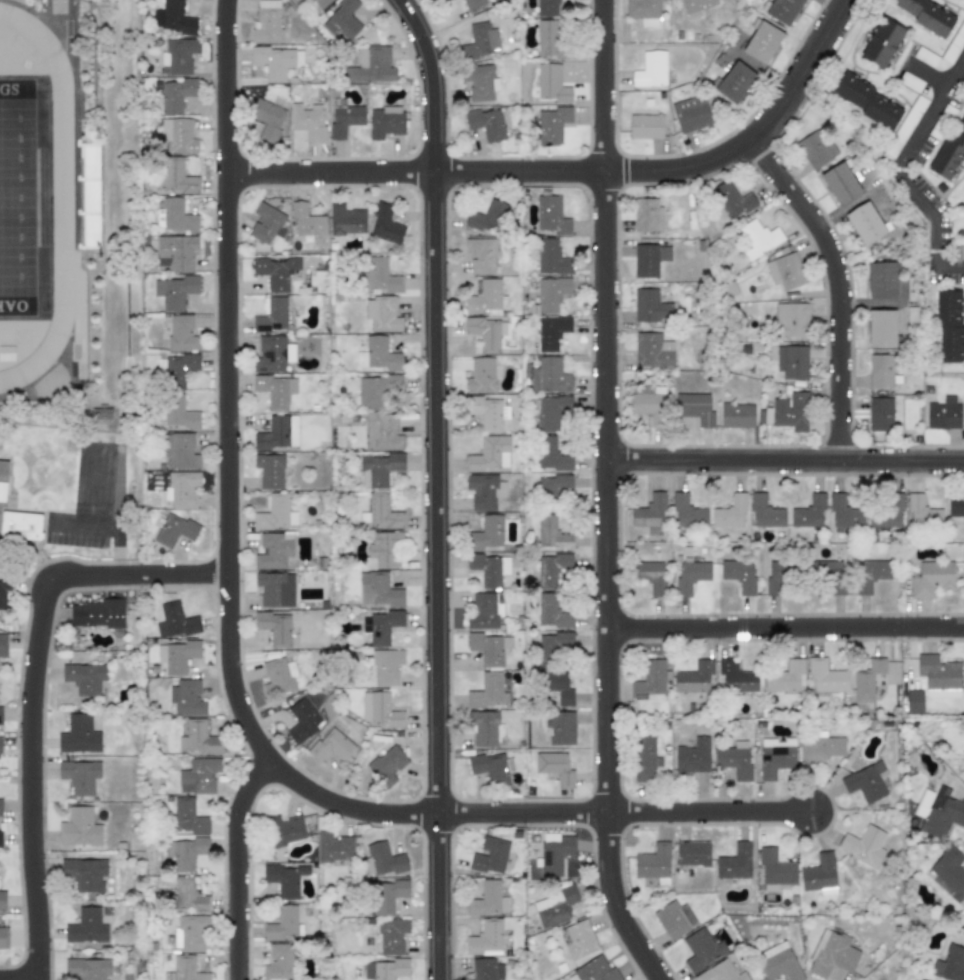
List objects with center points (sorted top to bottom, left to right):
building: (446, 0)
building: (674, 0)
building: (320, 3)
building: (473, 4)
building: (695, 7)
building: (546, 8)
building: (781, 10)
building: (644, 11)
building: (931, 14)
building: (173, 18)
building: (342, 20)
building: (266, 22)
building: (550, 40)
building: (479, 41)
building: (762, 41)
building: (887, 41)
building: (954, 43)
road: (98, 55)
building: (178, 56)
building: (925, 57)
building: (276, 61)
building: (371, 66)
building: (650, 70)
road: (800, 73)
road: (962, 74)
road: (929, 76)
building: (478, 82)
building: (910, 82)
building: (735, 83)
building: (550, 84)
building: (176, 94)
building: (870, 99)
building: (689, 114)
building: (344, 117)
building: (267, 118)
building: (308, 121)
building: (385, 122)
building: (486, 124)
building: (551, 125)
building: (645, 125)
building: (904, 128)
building: (177, 136)
building: (816, 148)
building: (949, 154)
road: (488, 171)
road: (903, 176)
building: (175, 177)
building: (840, 184)
park: (17, 198)
building: (732, 201)
stadium: (45, 202)
track: (55, 215)
building: (551, 215)
building: (174, 216)
building: (646, 216)
building: (487, 217)
building: (306, 220)
building: (345, 220)
building: (266, 223)
building: (866, 223)
building: (385, 224)
building: (758, 238)
building: (176, 252)
building: (480, 255)
building: (550, 257)
building: (648, 259)
building: (786, 270)
building: (275, 271)
building: (377, 276)
building: (879, 280)
road: (837, 286)
building: (175, 291)
building: (550, 293)
building: (486, 298)
building: (649, 307)
building: (382, 314)
building: (271, 315)
building: (791, 318)
building: (949, 327)
building: (881, 328)
building: (551, 332)
building: (181, 333)
building: (486, 333)
building: (653, 350)
building: (272, 354)
building: (377, 355)
building: (791, 361)
building: (176, 369)
building: (881, 371)
building: (481, 375)
building: (549, 376)
building: (275, 390)
building: (376, 390)
building: (647, 401)
building: (694, 408)
building: (790, 411)
building: (487, 412)
building: (177, 413)
building: (880, 414)
building: (943, 414)
building: (103, 415)
building: (737, 415)
building: (764, 416)
building: (382, 432)
building: (277, 433)
building: (180, 450)
building: (490, 454)
building: (550, 454)
road: (784, 460)
building: (378, 469)
building: (269, 470)
building: (2, 478)
road: (434, 486)
building: (554, 486)
building: (182, 488)
building: (484, 491)
road: (604, 496)
building: (955, 504)
building: (886, 511)
building: (922, 511)
building: (687, 512)
building: (729, 512)
building: (765, 512)
building: (275, 513)
building: (379, 513)
building: (808, 513)
building: (650, 514)
building: (844, 514)
building: (20, 525)
road: (107, 526)
building: (174, 530)
building: (551, 533)
building: (485, 534)
building: (273, 550)
building: (382, 550)
building: (489, 569)
building: (551, 569)
building: (738, 574)
building: (870, 574)
building: (650, 576)
building: (690, 576)
building: (827, 576)
building: (931, 578)
building: (776, 579)
building: (3, 588)
building: (275, 589)
building: (378, 590)
building: (484, 611)
building: (551, 612)
building: (96, 614)
building: (174, 621)
building: (380, 626)
road: (784, 626)
building: (274, 627)
building: (2, 645)
building: (552, 645)
building: (489, 648)
building: (176, 656)
road: (228, 661)
building: (386, 666)
building: (278, 676)
building: (825, 676)
building: (938, 676)
building: (736, 677)
building: (785, 677)
building: (84, 678)
building: (694, 678)
building: (867, 680)
building: (649, 682)
building: (557, 686)
road: (30, 688)
building: (488, 692)
building: (187, 697)
building: (913, 700)
building: (378, 709)
building: (0, 715)
building: (302, 720)
building: (483, 728)
building: (561, 728)
building: (78, 735)
building: (198, 738)
building: (331, 746)
building: (820, 746)
building: (693, 756)
building: (775, 757)
building: (644, 759)
building: (734, 759)
building: (963, 761)
building: (387, 765)
building: (554, 767)
building: (490, 768)
building: (79, 776)
building: (198, 776)
building: (866, 782)
street lamp: (823, 788)
building: (0, 807)
building: (938, 811)
building: (187, 817)
building: (79, 828)
building: (284, 830)
building: (0, 839)
building: (864, 845)
building: (333, 847)
building: (185, 852)
building: (554, 853)
building: (692, 853)
building: (489, 855)
building: (734, 862)
building: (653, 863)
road: (235, 864)
building: (774, 869)
building: (949, 873)
building: (85, 874)
building: (819, 874)
building: (284, 879)
building: (388, 895)
building: (188, 896)
building: (488, 898)
building: (2, 900)
building: (553, 907)
building: (670, 920)
building: (282, 924)
building: (86, 926)
building: (190, 932)
building: (391, 935)
building: (486, 937)
building: (3, 939)
building: (578, 939)
building: (701, 950)
building: (831, 954)
building: (278, 962)
building: (778, 962)
building: (952, 964)
building: (88, 968)
building: (384, 969)
building: (487, 969)
building: (184, 970)
building: (595, 970)
building: (721, 973)

